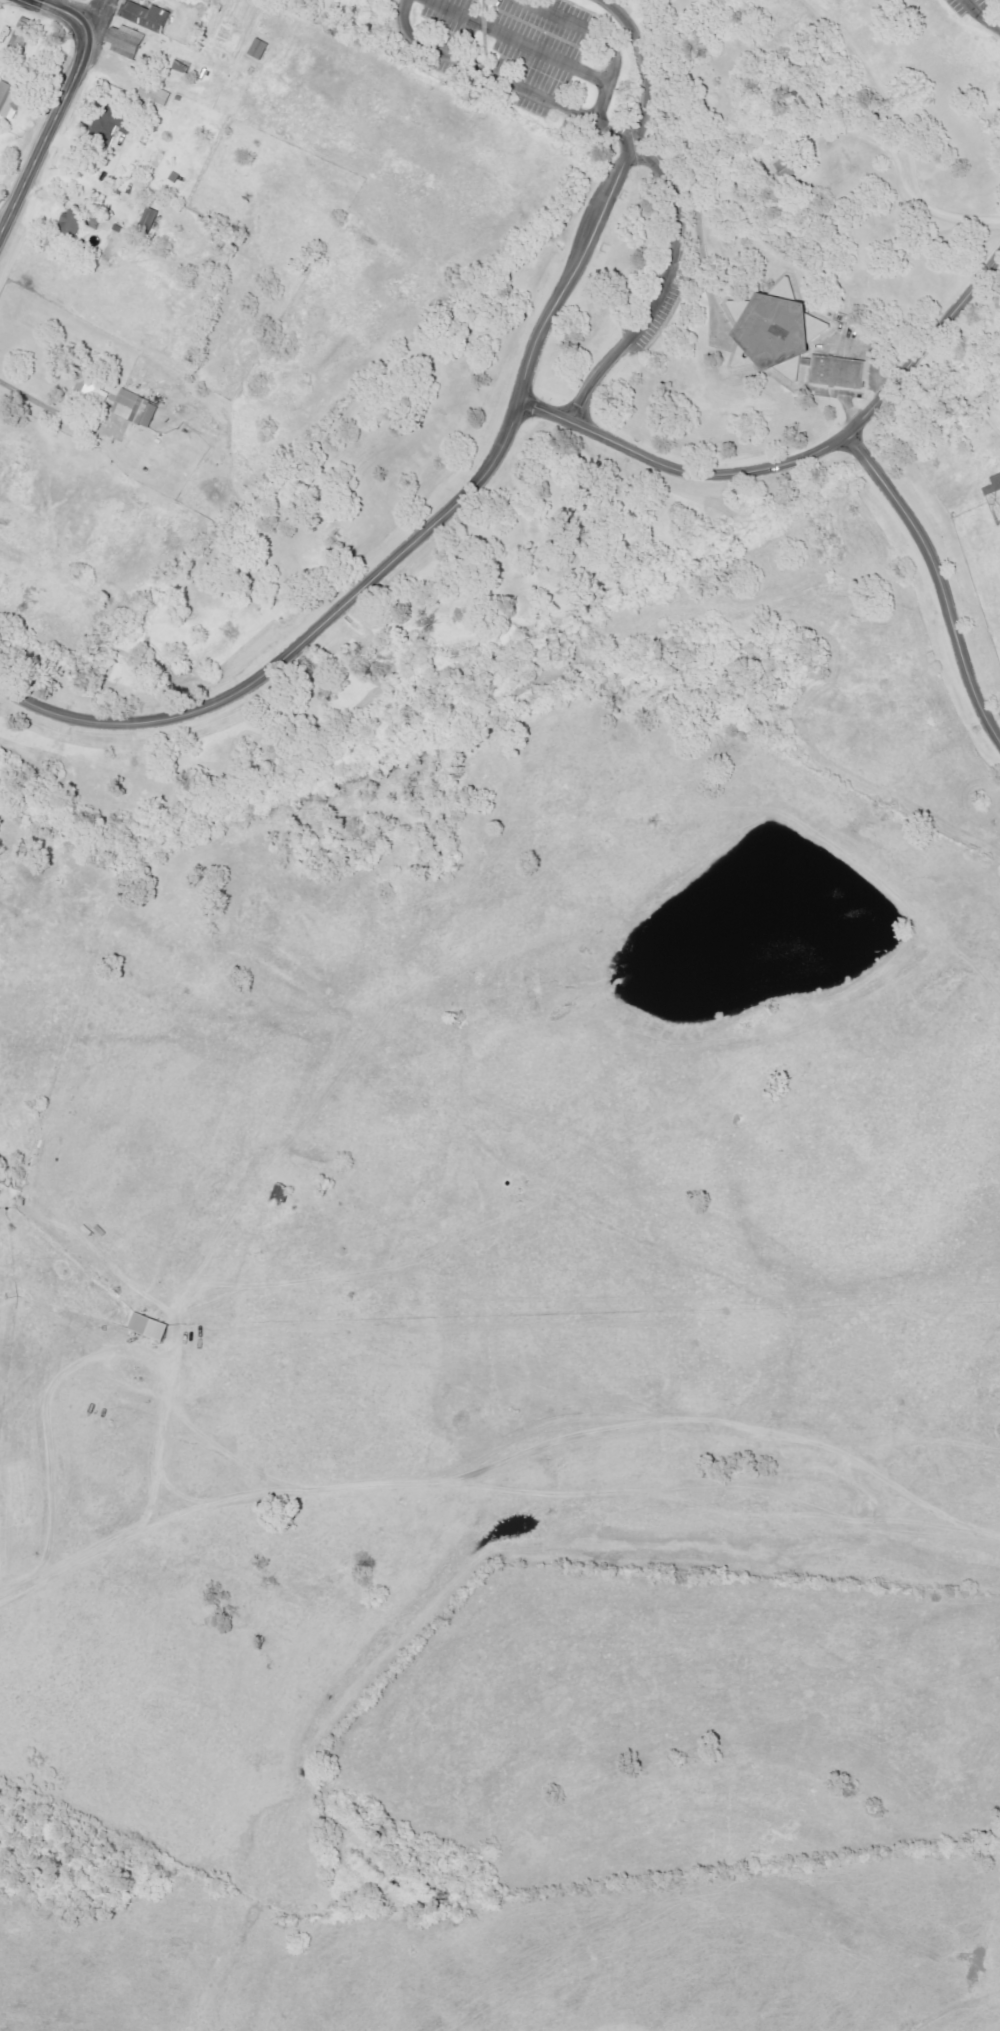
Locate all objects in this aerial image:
parking lot: (965, 6)
road: (62, 11)
road: (93, 15)
building: (144, 16)
road: (982, 17)
building: (23, 38)
road: (596, 40)
building: (124, 41)
road: (516, 41)
building: (257, 49)
parking lot: (517, 51)
park: (157, 53)
building: (180, 65)
road: (642, 68)
road: (673, 78)
road: (502, 79)
building: (154, 93)
road: (887, 97)
building: (9, 100)
building: (113, 126)
road: (46, 134)
road: (783, 145)
building: (77, 220)
building: (148, 220)
road: (663, 286)
building: (768, 329)
building: (834, 371)
road: (966, 372)
building: (86, 388)
building: (133, 408)
road: (55, 410)
park: (621, 441)
road: (792, 457)
building: (991, 485)
road: (404, 551)
road: (939, 577)
building: (146, 1327)
road: (143, 1492)

